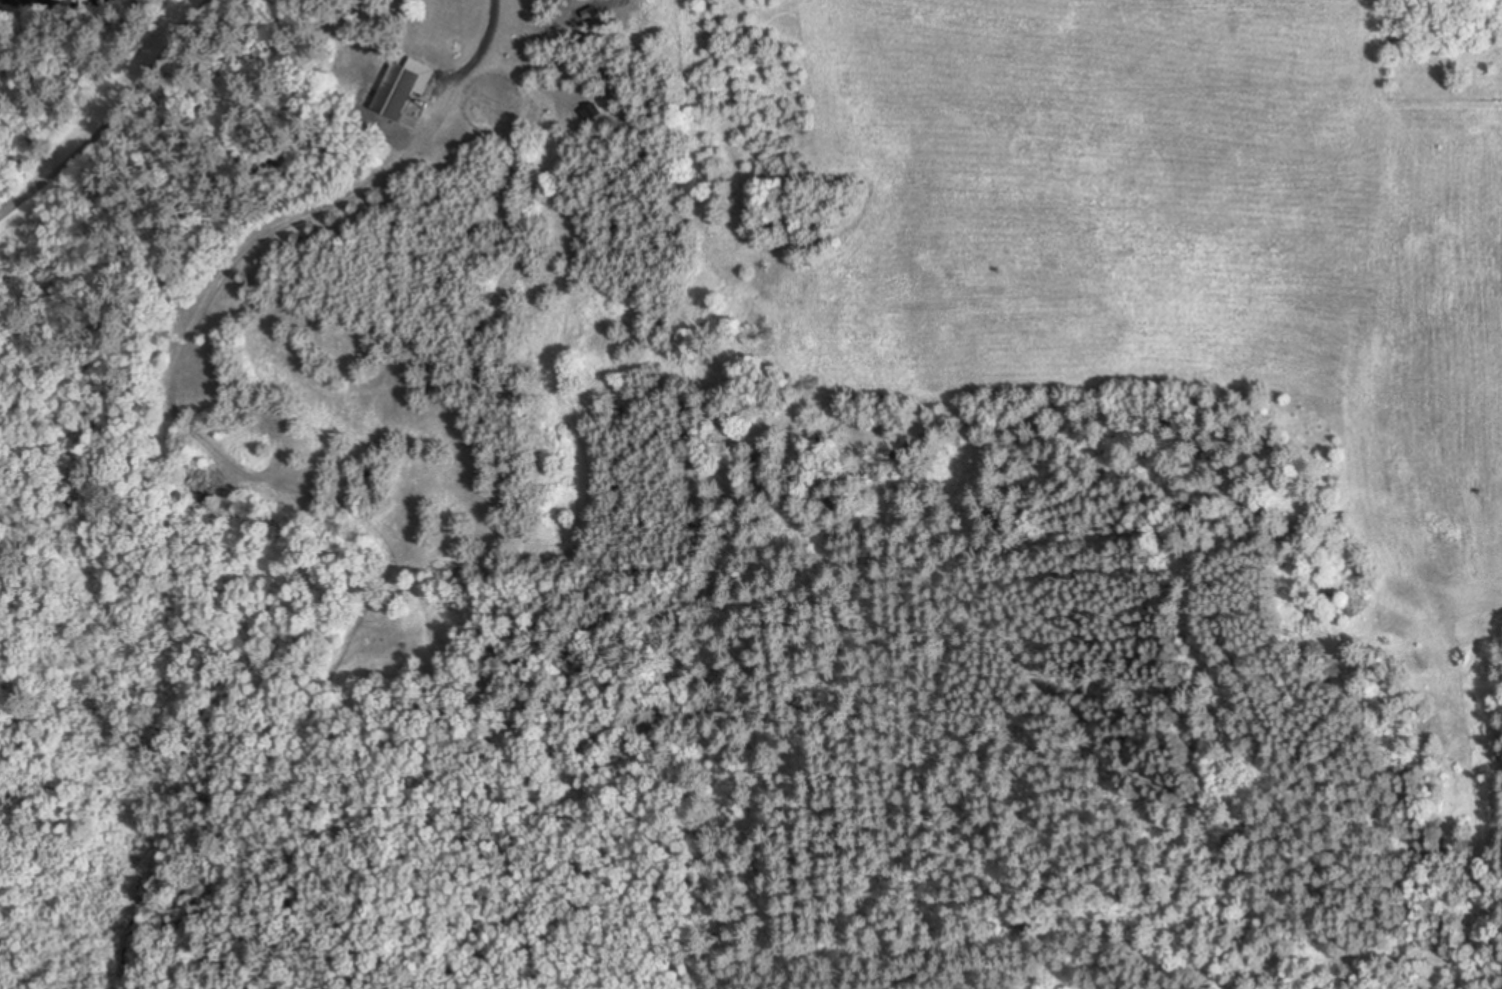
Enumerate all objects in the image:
building: (399, 89)
road: (158, 121)

